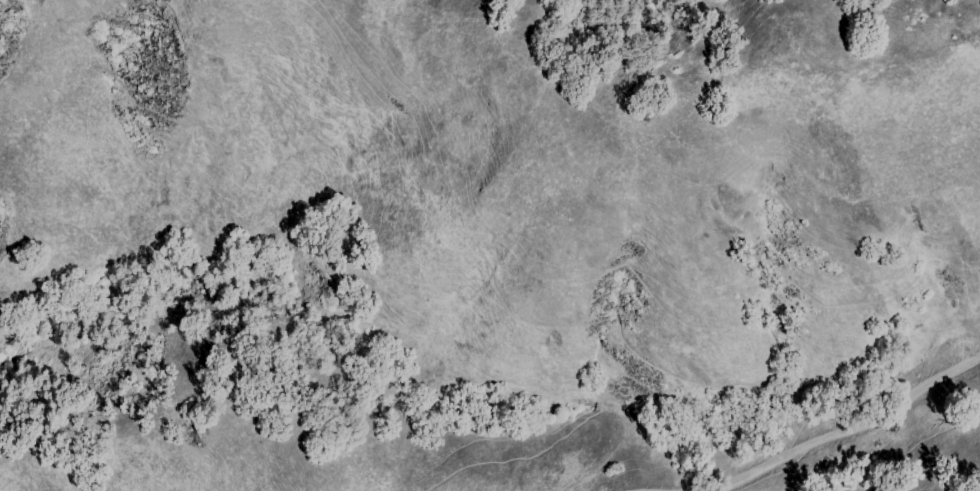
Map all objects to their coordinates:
road: (852, 432)

